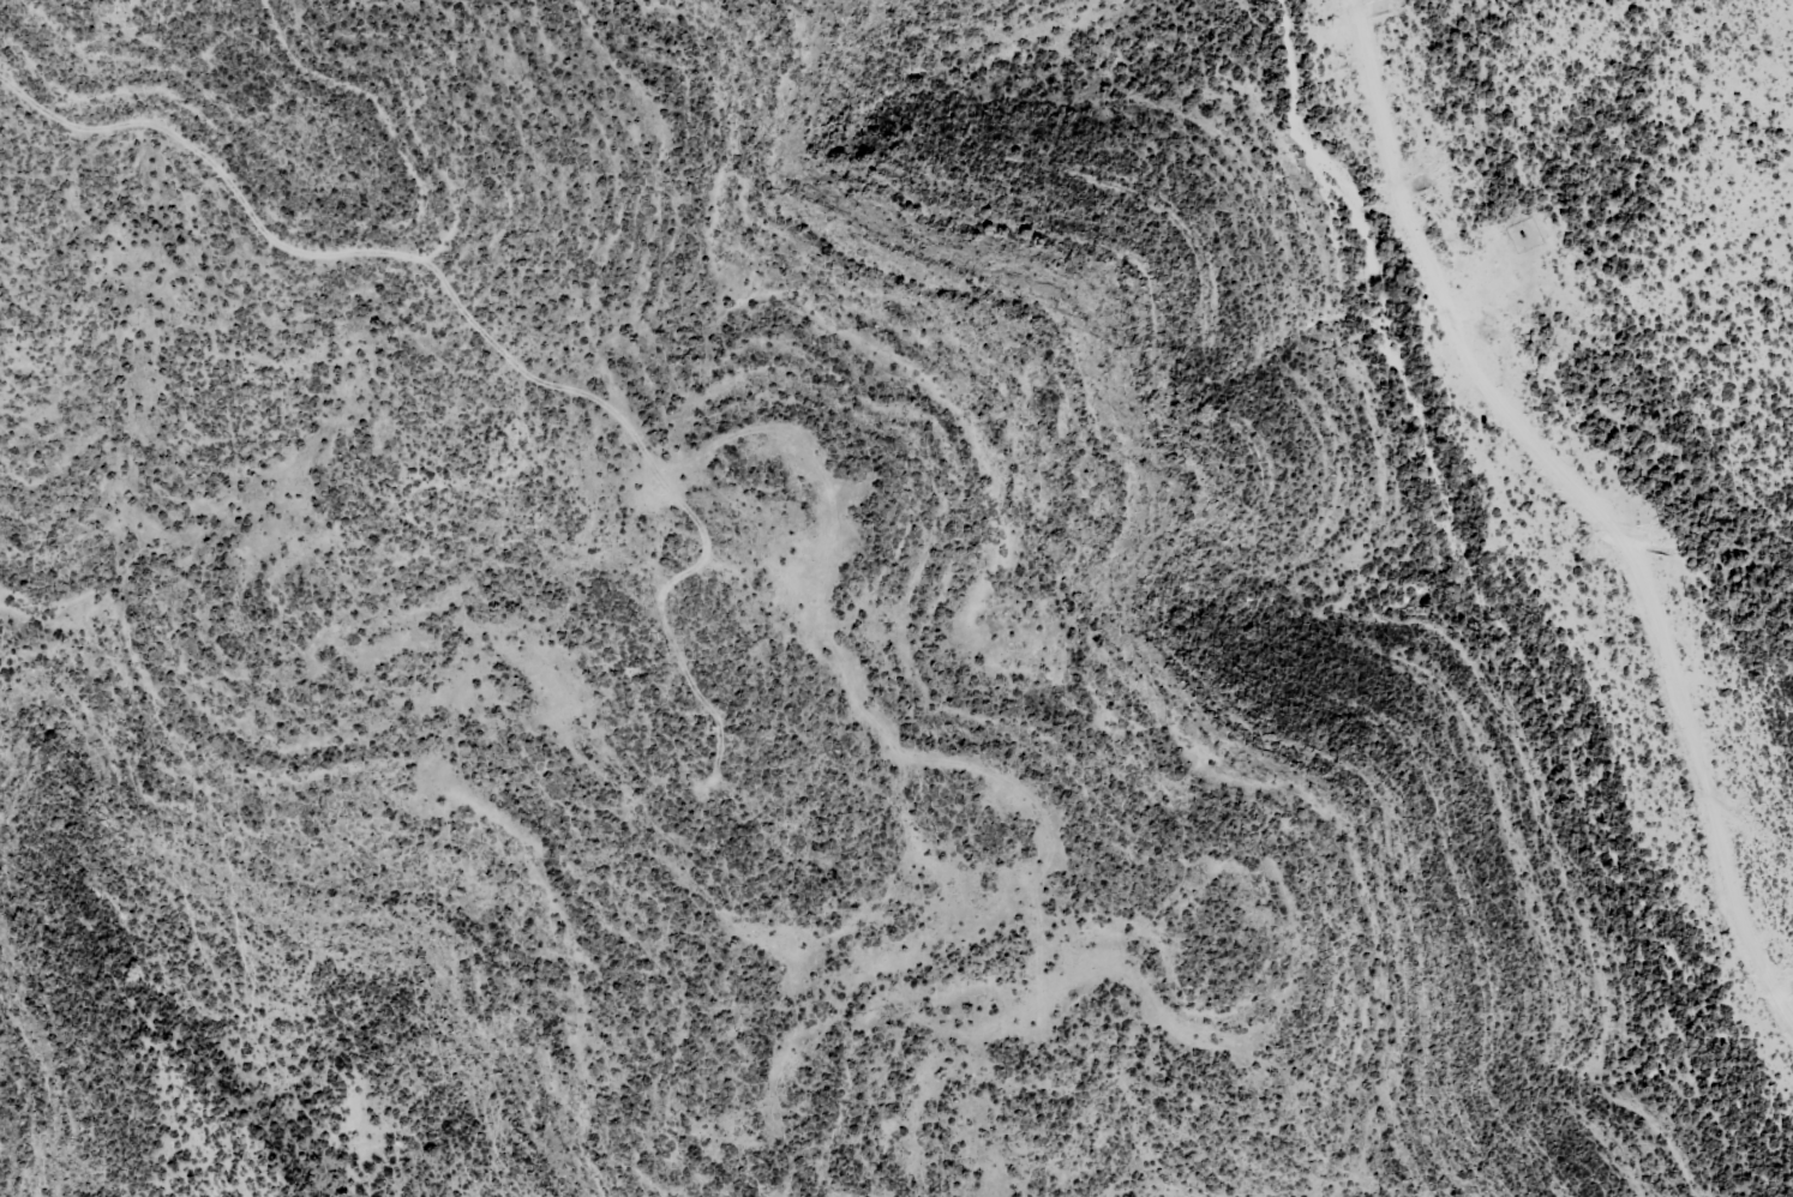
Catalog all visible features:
road: (1569, 491)

